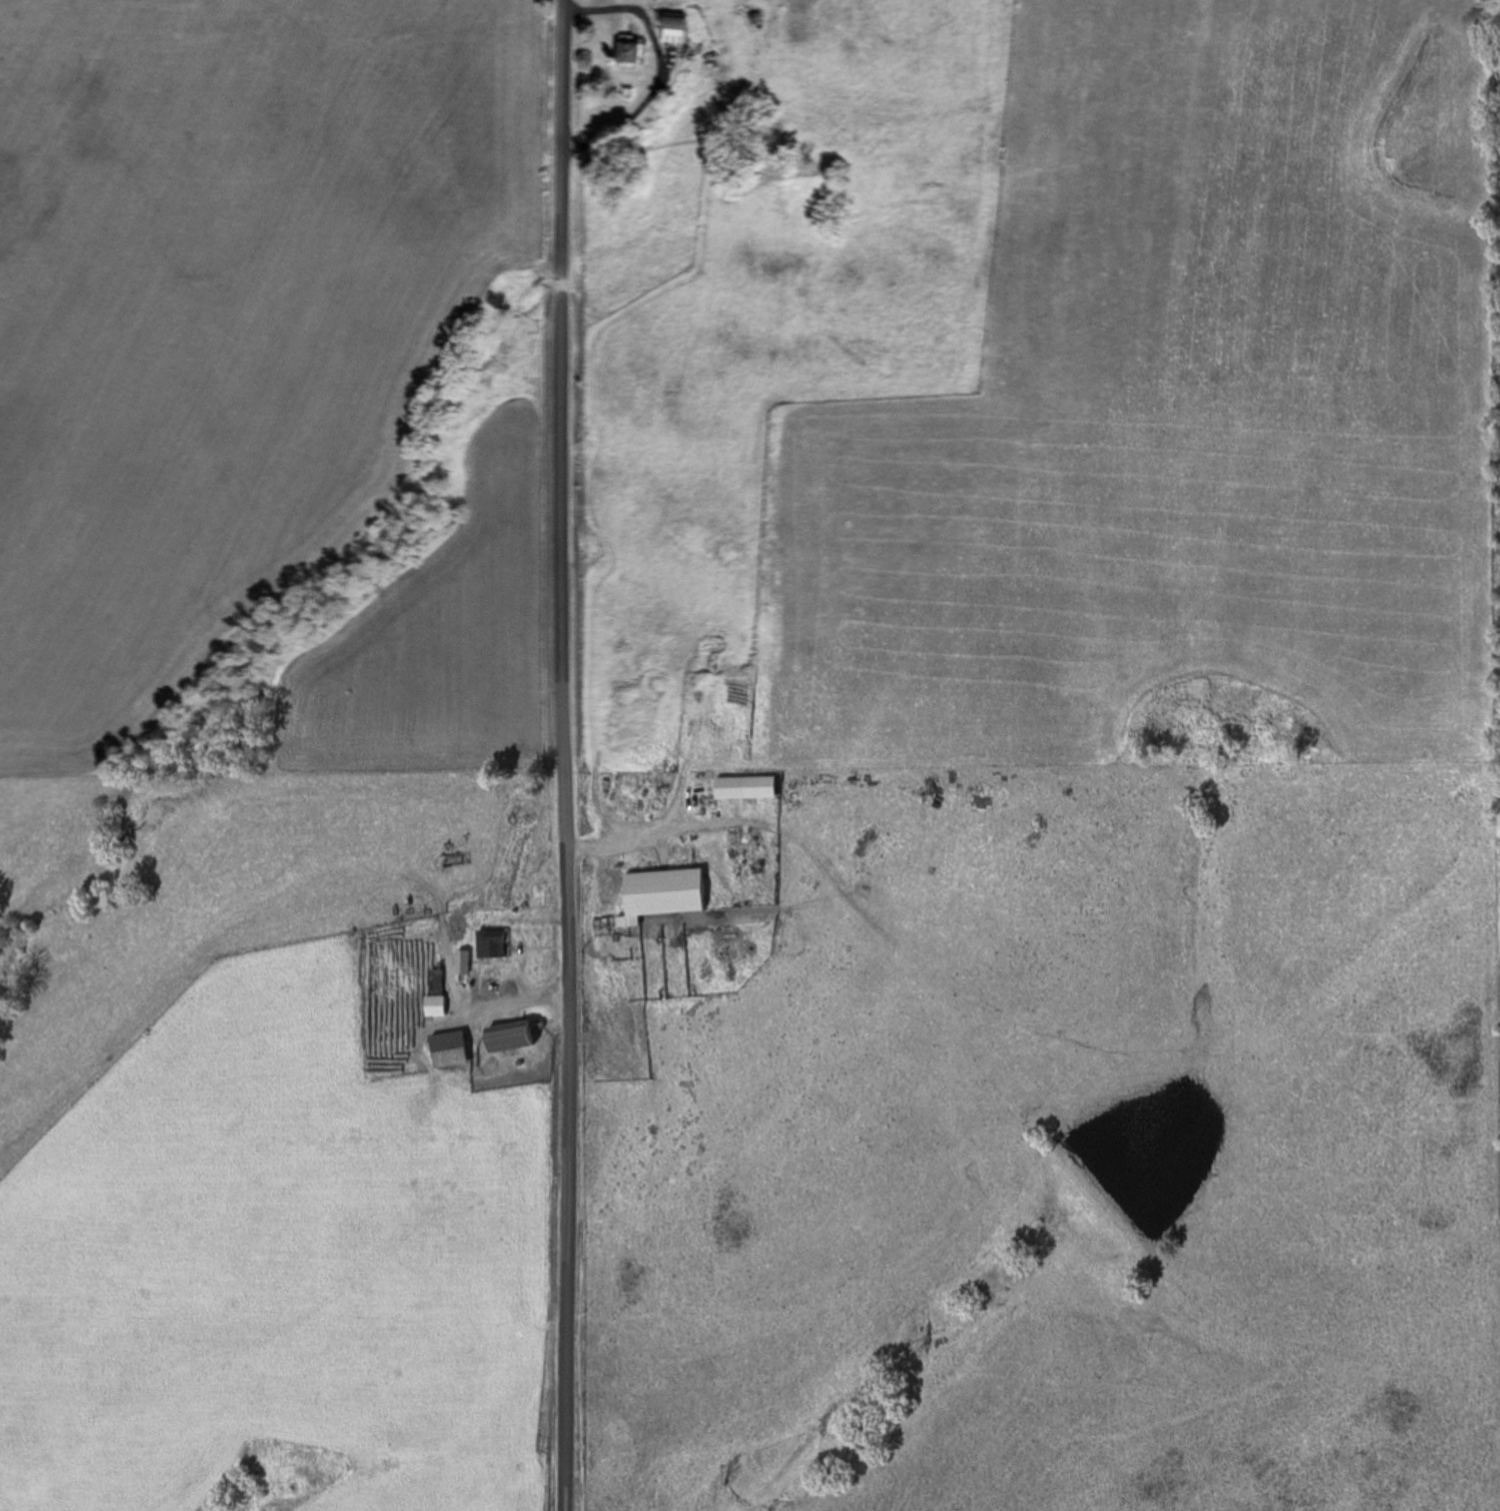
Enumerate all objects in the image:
building: (673, 31)
building: (629, 56)
road: (563, 755)
building: (744, 789)
building: (982, 805)
road: (641, 836)
building: (661, 896)
building: (490, 945)
building: (461, 964)
building: (434, 996)
building: (509, 1038)
building: (448, 1051)

